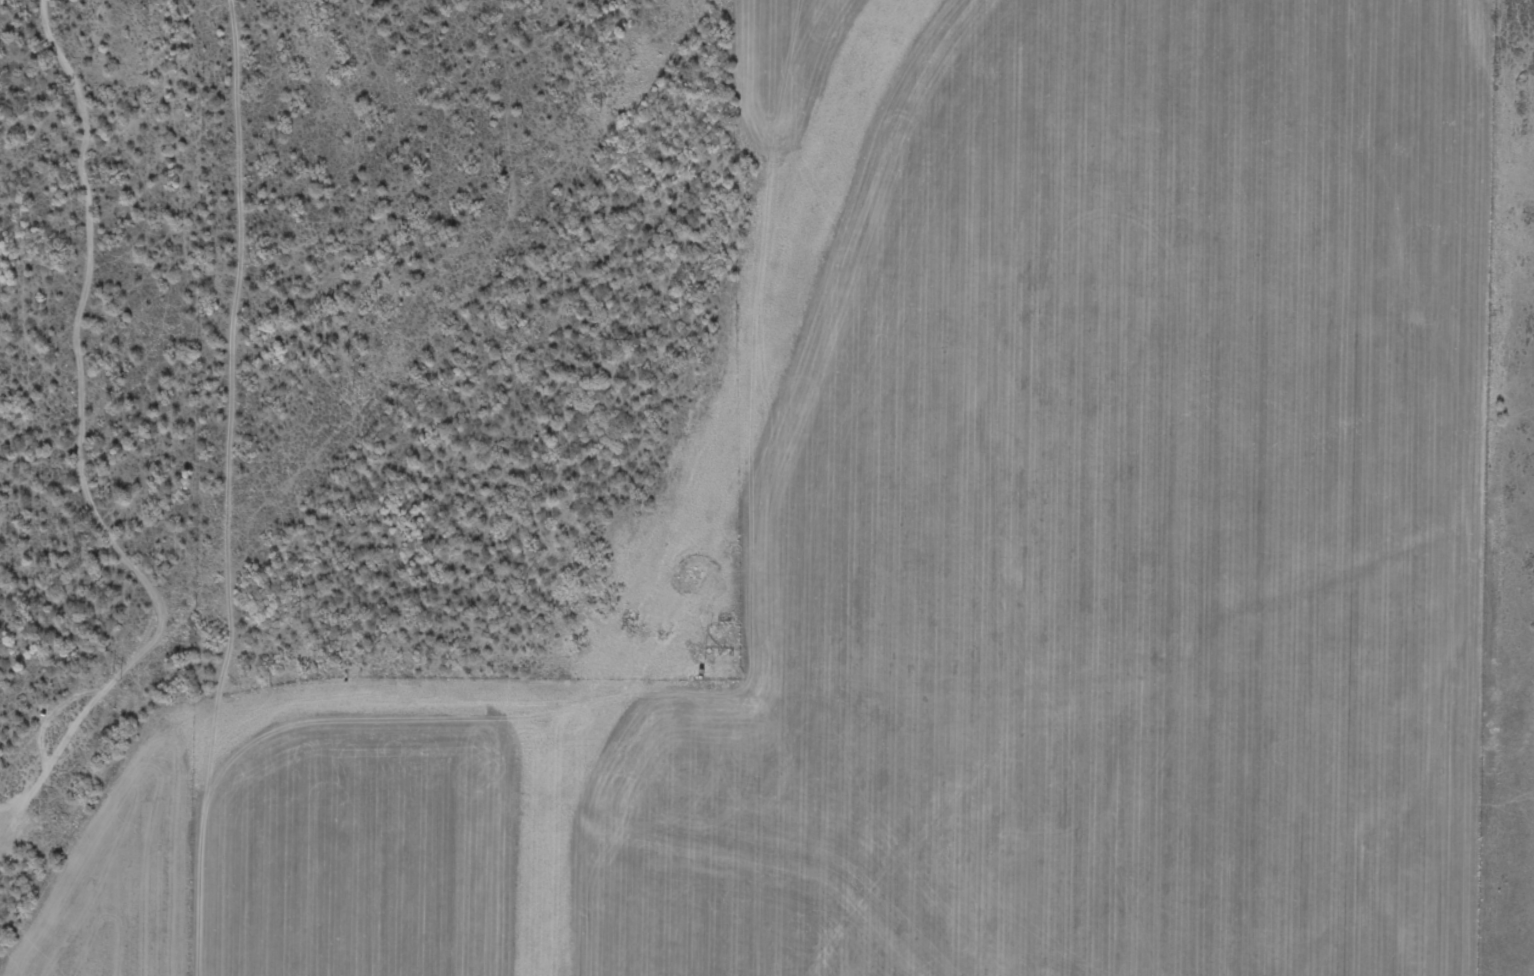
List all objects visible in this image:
power tower: (597, 109)
power tower: (356, 395)
road: (1487, 487)
power tower: (116, 680)

